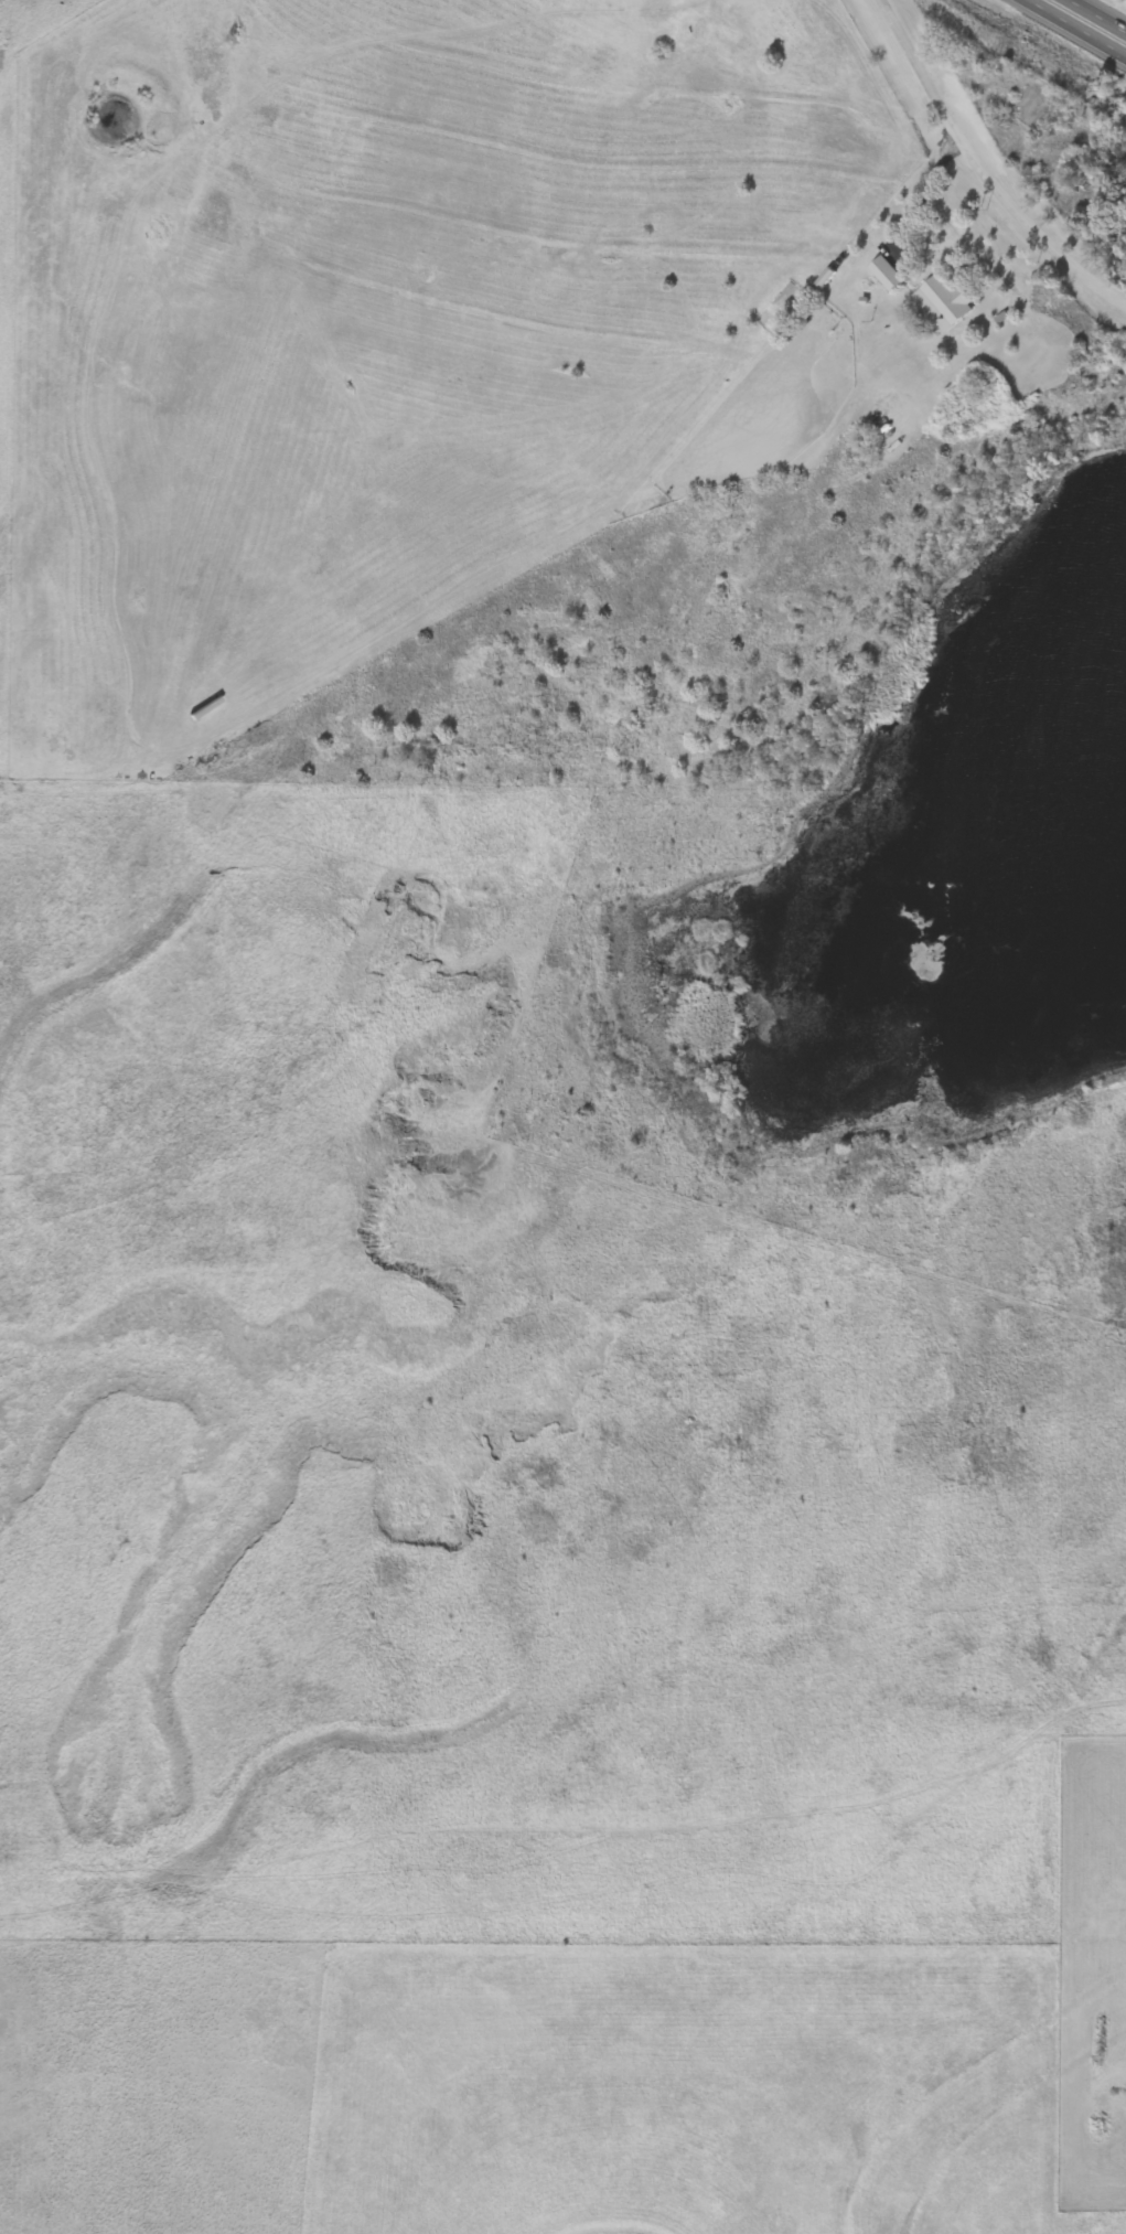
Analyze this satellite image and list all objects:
road: (1083, 23)
road: (978, 172)
building: (884, 272)
building: (942, 298)
park: (1089, 1973)

